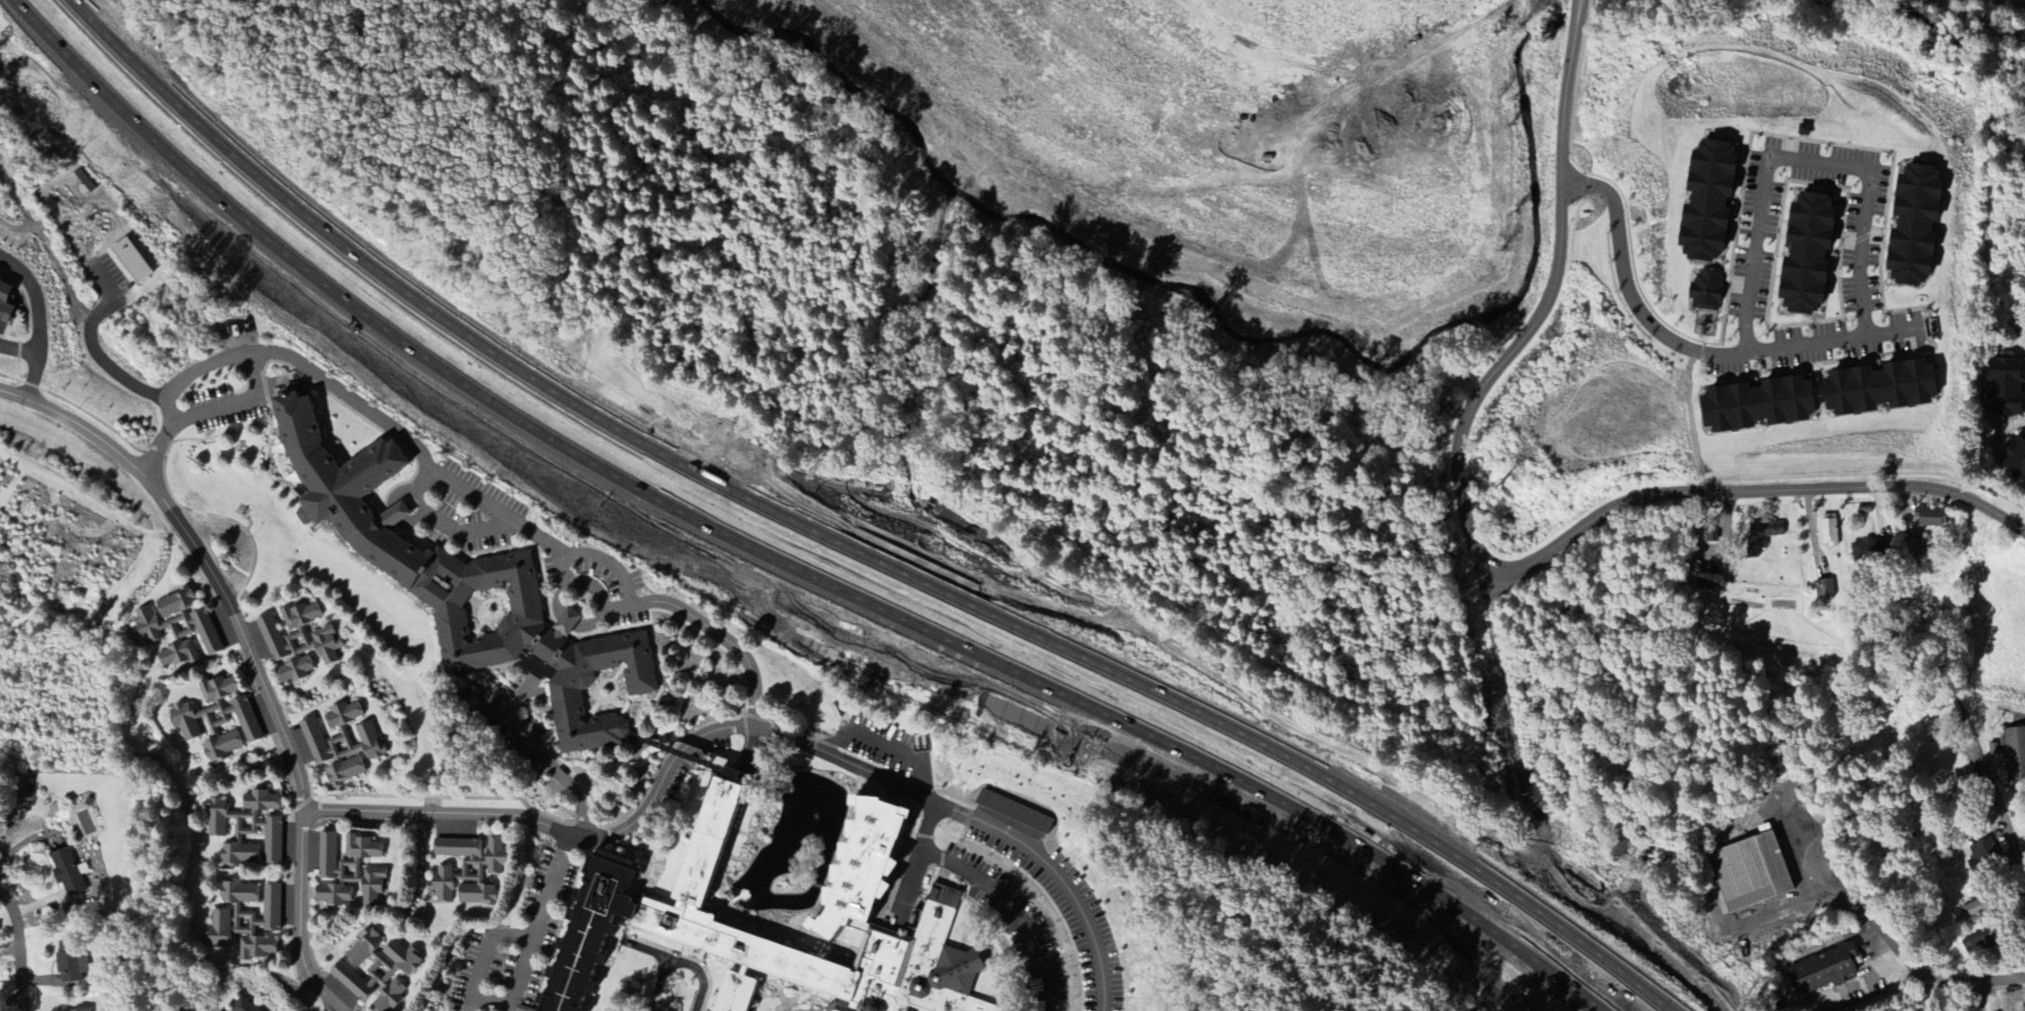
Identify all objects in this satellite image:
road: (1802, 161)
building: (1708, 202)
building: (1915, 226)
building: (1806, 254)
building: (130, 261)
building: (1706, 292)
building: (5, 303)
road: (39, 321)
road: (1685, 348)
road: (18, 351)
road: (95, 353)
building: (1879, 388)
building: (2005, 388)
building: (1756, 405)
road: (234, 406)
road: (1468, 412)
building: (2015, 458)
road: (452, 480)
road: (1745, 492)
building: (1932, 519)
road: (443, 521)
building: (1828, 534)
building: (1761, 537)
road: (850, 539)
building: (1870, 551)
road: (767, 553)
road: (564, 581)
building: (466, 582)
building: (1824, 590)
road: (604, 611)
road: (570, 620)
building: (178, 629)
building: (297, 642)
road: (251, 654)
building: (217, 719)
road: (770, 730)
building: (342, 745)
road: (686, 752)
building: (2012, 753)
road: (554, 766)
road: (1982, 777)
road: (447, 813)
building: (246, 829)
building: (1982, 852)
building: (466, 870)
building: (347, 871)
building: (1750, 872)
building: (67, 873)
road: (1057, 881)
building: (1974, 908)
building: (245, 920)
building: (764, 936)
road: (22, 947)
road: (479, 949)
road: (1901, 958)
building: (72, 968)
building: (376, 970)
building: (1823, 971)
building: (660, 973)
building: (788, 994)
road: (487, 1001)
building: (242, 1006)
building: (81, 1010)
building: (215, 1010)

